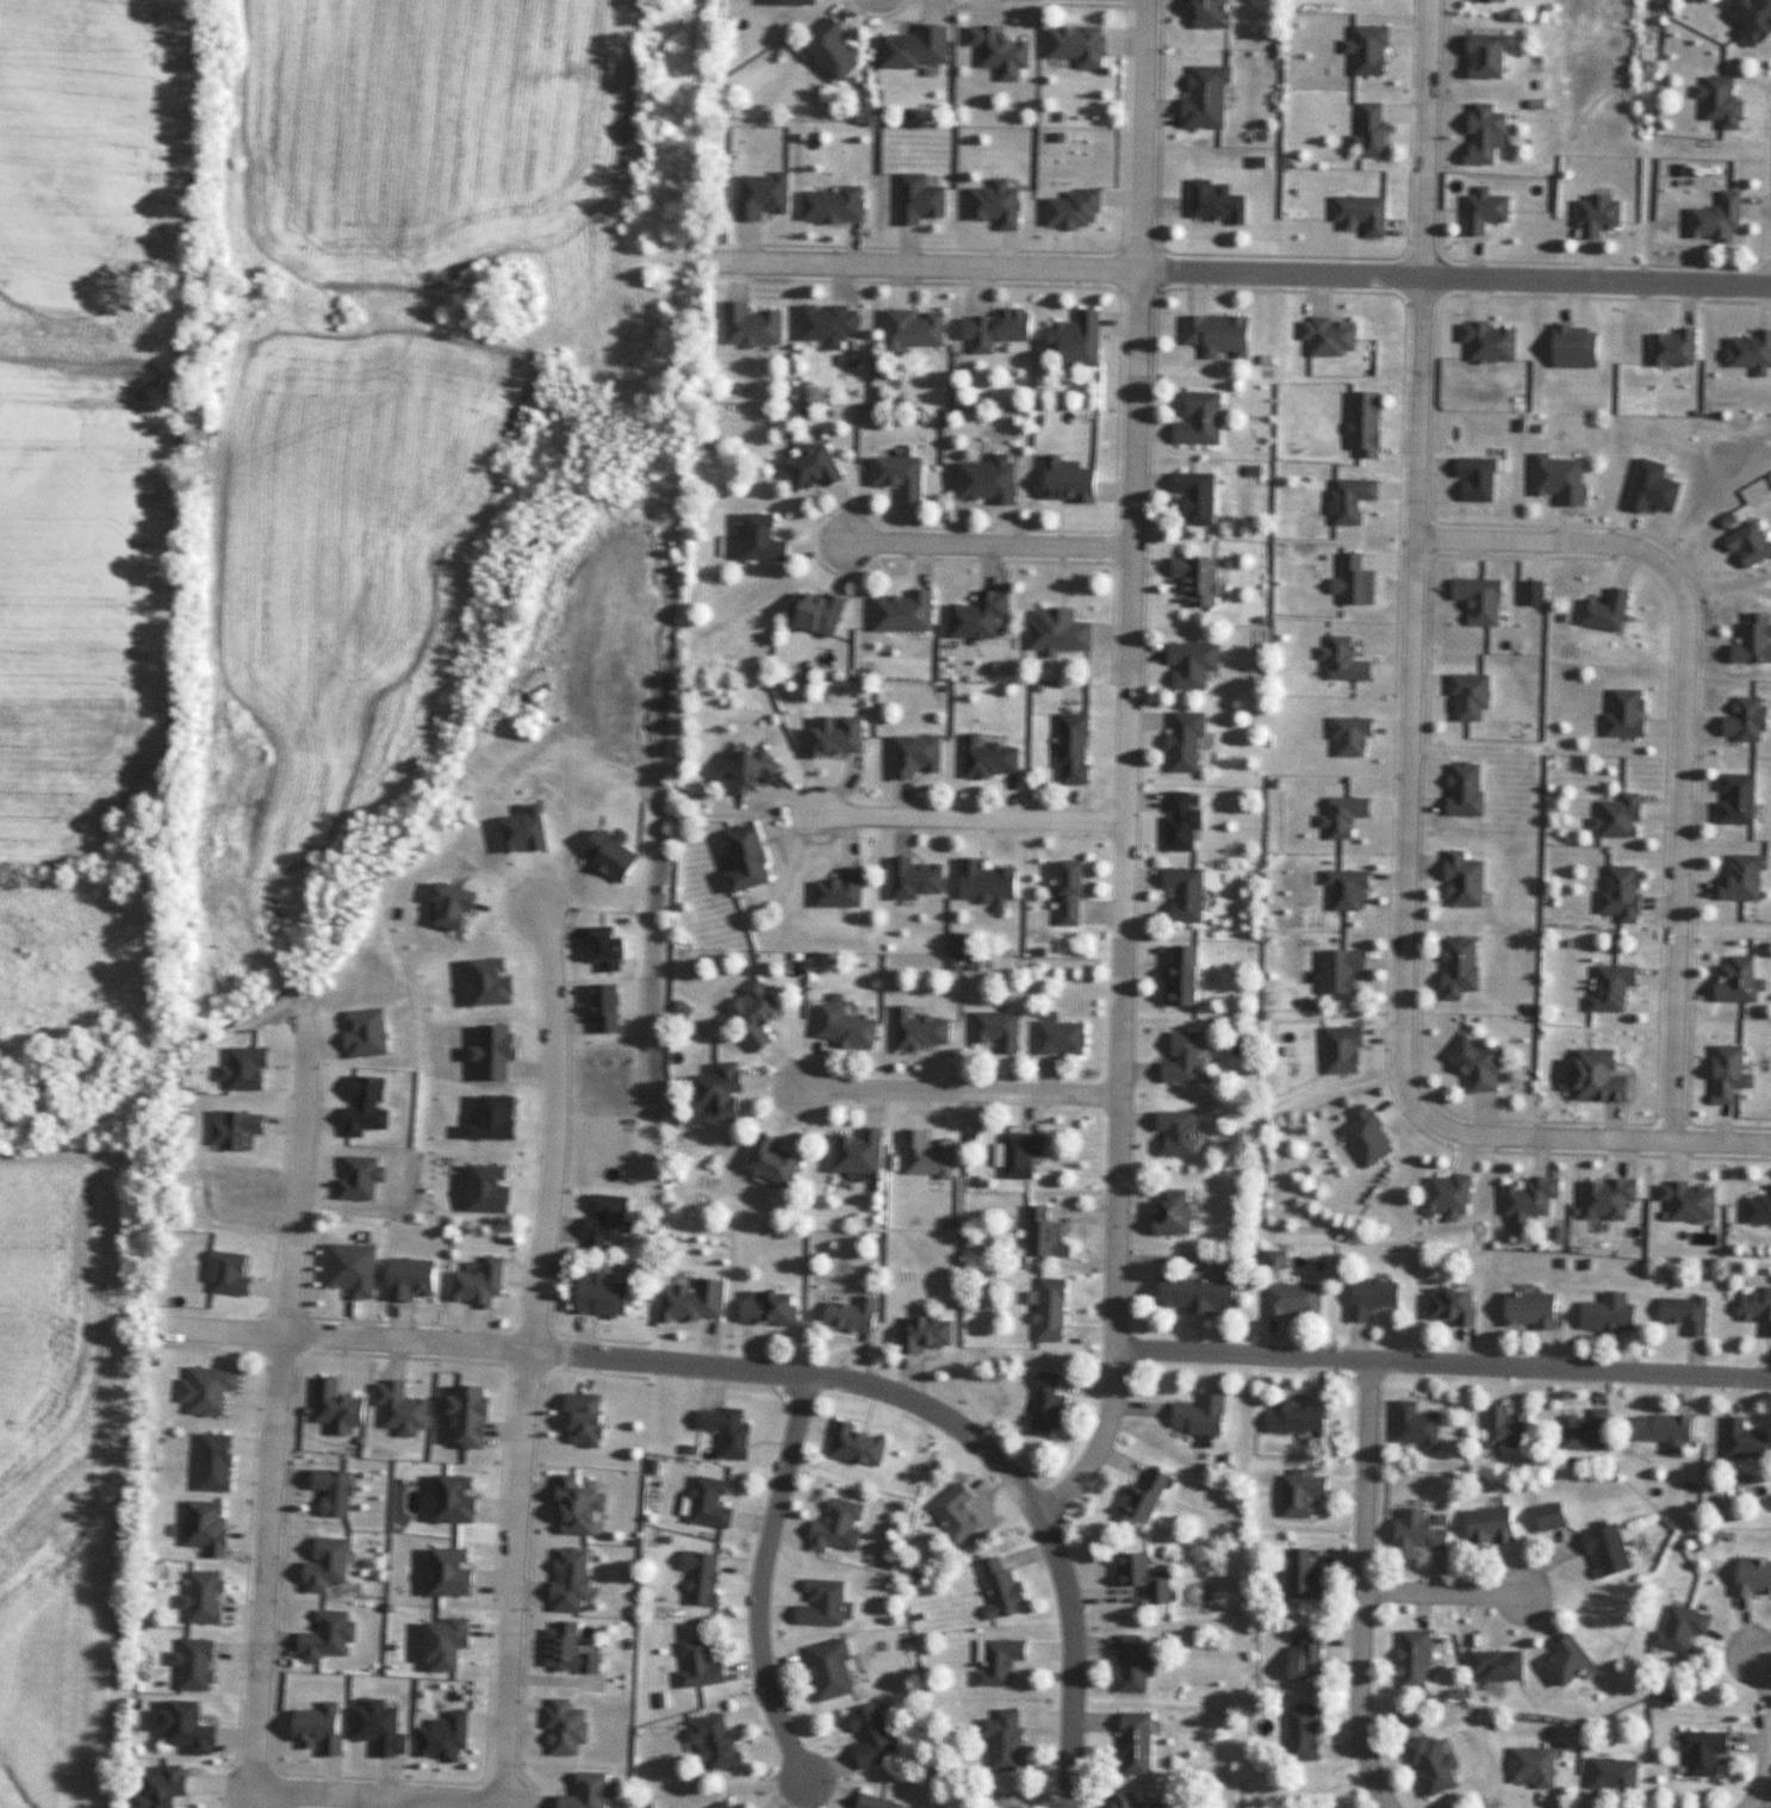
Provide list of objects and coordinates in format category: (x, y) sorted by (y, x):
building: (1502, 0)
building: (801, 1)
building: (1211, 13)
building: (1750, 18)
building: (1080, 44)
building: (920, 46)
building: (838, 48)
building: (1005, 50)
building: (1375, 50)
building: (1496, 55)
building: (1208, 97)
building: (1717, 102)
building: (1375, 130)
building: (1490, 133)
building: (766, 195)
building: (921, 199)
building: (1219, 203)
building: (834, 204)
building: (999, 204)
building: (1076, 210)
building: (1490, 211)
building: (1365, 215)
building: (1602, 215)
building: (1713, 219)
road: (1250, 274)
building: (754, 323)
building: (832, 323)
building: (916, 328)
building: (998, 328)
building: (1222, 335)
building: (1334, 336)
building: (1077, 338)
building: (1495, 341)
building: (1580, 347)
building: (1669, 347)
building: (1748, 350)
road: (1136, 410)
building: (1204, 420)
building: (1368, 423)
building: (818, 464)
building: (905, 474)
building: (1076, 478)
building: (1562, 478)
building: (989, 479)
building: (1483, 479)
building: (1648, 486)
building: (1200, 497)
building: (1356, 501)
building: (768, 536)
road: (989, 541)
building: (1744, 545)
road: (1417, 552)
building: (1195, 580)
building: (1357, 582)
building: (1484, 598)
building: (1599, 610)
building: (818, 613)
building: (906, 614)
building: (981, 615)
building: (1062, 629)
building: (1748, 639)
building: (1347, 659)
building: (1198, 664)
building: (1465, 697)
building: (1620, 713)
building: (1739, 720)
road: (1683, 725)
building: (841, 735)
building: (1344, 735)
building: (1189, 741)
building: (1079, 747)
building: (920, 754)
building: (993, 754)
building: (757, 769)
building: (1459, 789)
building: (1730, 797)
building: (1337, 814)
building: (1614, 816)
road: (970, 818)
building: (1176, 821)
building: (751, 857)
building: (1738, 877)
building: (920, 878)
building: (1458, 880)
building: (988, 881)
building: (843, 888)
building: (1341, 888)
building: (1616, 890)
building: (1063, 891)
building: (1180, 891)
building: (1454, 965)
building: (1335, 968)
building: (1177, 974)
building: (1734, 981)
building: (1608, 986)
building: (759, 1013)
building: (851, 1027)
building: (925, 1030)
building: (994, 1030)
building: (1055, 1036)
building: (1337, 1049)
building: (1175, 1058)
building: (1472, 1064)
building: (1723, 1073)
building: (1591, 1076)
road: (957, 1091)
building: (728, 1093)
building: (1170, 1131)
building: (1362, 1136)
road: (1586, 1138)
building: (863, 1149)
building: (1015, 1152)
building: (931, 1154)
building: (778, 1161)
road: (1114, 1179)
building: (1443, 1195)
building: (1527, 1197)
building: (1603, 1198)
building: (1685, 1200)
building: (1757, 1207)
building: (1167, 1212)
building: (1040, 1234)
building: (232, 1272)
building: (415, 1278)
building: (484, 1282)
building: (1191, 1293)
building: (605, 1294)
building: (1368, 1297)
building: (1288, 1299)
building: (696, 1300)
building: (1754, 1305)
building: (1447, 1306)
building: (772, 1307)
building: (1045, 1307)
building: (1523, 1309)
building: (856, 1312)
building: (1680, 1312)
building: (1602, 1316)
building: (930, 1332)
road: (530, 1354)
road: (1441, 1366)
road: (777, 1371)
building: (211, 1387)
building: (1042, 1404)
building: (341, 1406)
road: (274, 1408)
building: (404, 1408)
building: (1194, 1414)
building: (1292, 1417)
building: (590, 1418)
building: (1412, 1424)
building: (1504, 1427)
building: (731, 1429)
building: (1583, 1429)
building: (1659, 1429)
building: (1741, 1440)
building: (862, 1444)
building: (219, 1461)
building: (338, 1490)
building: (1298, 1491)
building: (1139, 1498)
building: (715, 1502)
building: (582, 1506)
building: (961, 1511)
building: (1546, 1516)
building: (210, 1526)
building: (1487, 1526)
building: (840, 1527)
building: (1419, 1529)
building: (1601, 1551)
building: (331, 1564)
building: (1301, 1574)
building: (708, 1576)
building: (1139, 1576)
building: (1750, 1577)
road: (760, 1578)
building: (576, 1579)
building: (998, 1589)
road: (1363, 1589)
road: (1444, 1593)
building: (206, 1596)
building: (827, 1602)
building: (1677, 1628)
building: (331, 1635)
building: (454, 1642)
building: (571, 1647)
building: (1300, 1654)
building: (1410, 1659)
building: (1560, 1659)
building: (1002, 1660)
building: (201, 1664)
building: (703, 1664)
building: (1491, 1664)
building: (1129, 1665)
building: (835, 1670)
building: (325, 1727)
building: (571, 1727)
road: (1764, 1731)
building: (1299, 1733)
building: (448, 1735)
building: (875, 1736)
building: (721, 1739)
building: (1008, 1739)
building: (1142, 1742)
building: (1699, 1750)
building: (1427, 1765)
building: (1527, 1765)
building: (1609, 1773)
building: (167, 1787)
building: (599, 1791)
road: (375, 1800)
building: (1147, 1801)
building: (883, 1802)
road: (374, 1803)
building: (729, 1806)

